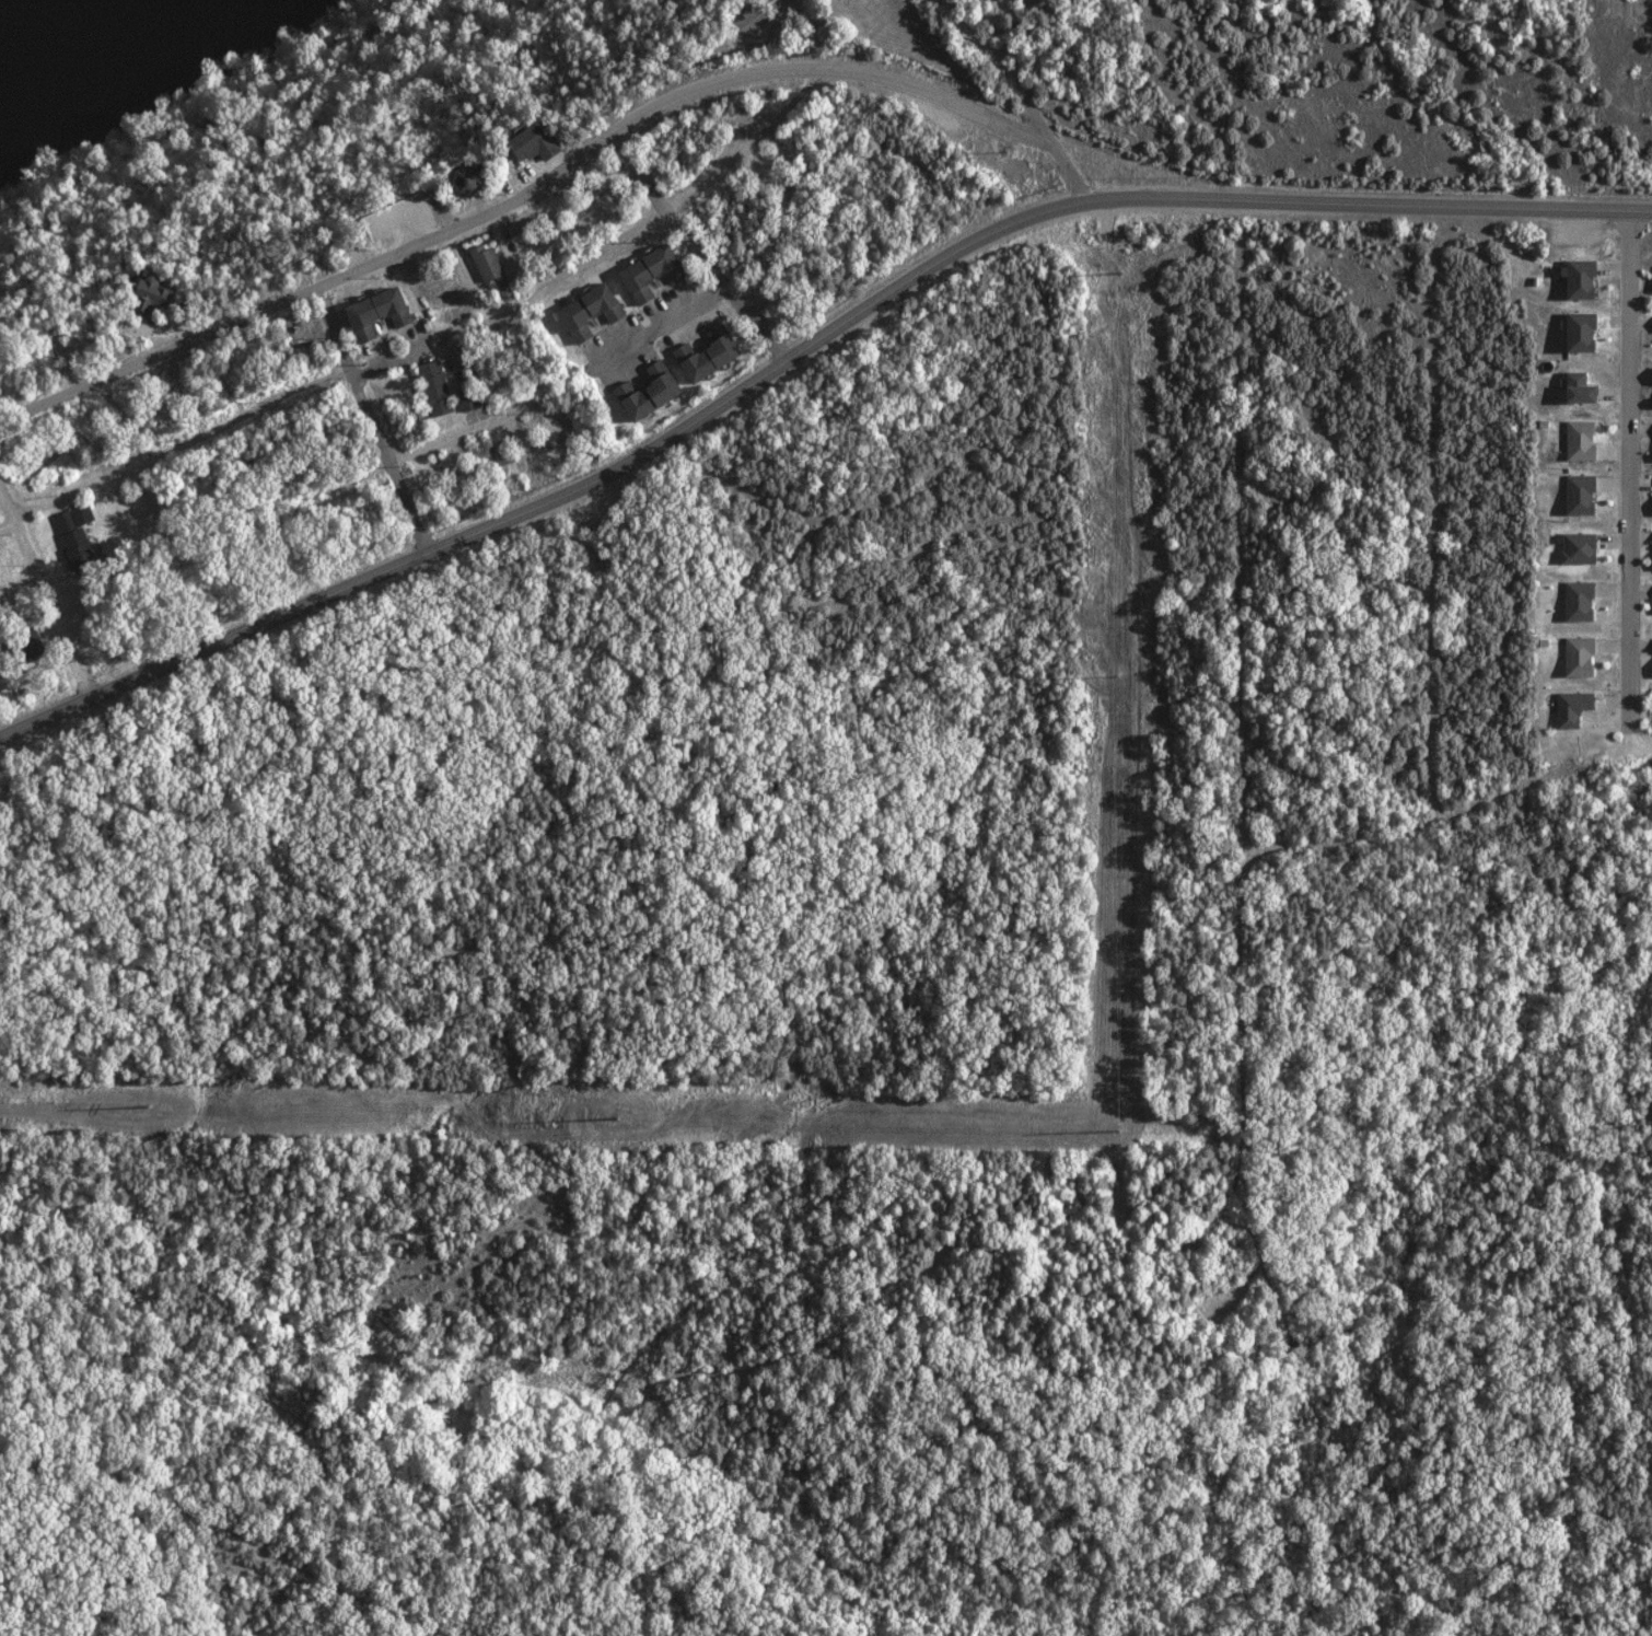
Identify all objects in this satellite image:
road: (753, 20)
river: (62, 33)
road: (1010, 61)
road: (810, 71)
building: (538, 141)
road: (635, 229)
building: (489, 264)
power tower: (1119, 270)
building: (653, 272)
building: (1573, 279)
building: (160, 290)
road: (710, 299)
building: (593, 311)
building: (382, 312)
road: (758, 325)
building: (1573, 334)
road: (438, 339)
building: (711, 352)
building: (1651, 376)
building: (439, 387)
building: (1571, 390)
building: (652, 391)
building: (469, 399)
road: (373, 429)
building: (1577, 440)
road: (118, 473)
road: (1632, 480)
building: (1577, 494)
road: (556, 497)
road: (408, 507)
building: (80, 539)
building: (1574, 547)
road: (35, 562)
building: (1574, 601)
building: (1574, 655)
power tower: (1119, 674)
building: (1569, 707)
power tower: (149, 1107)
power tower: (615, 1118)
power tower: (1119, 1130)

